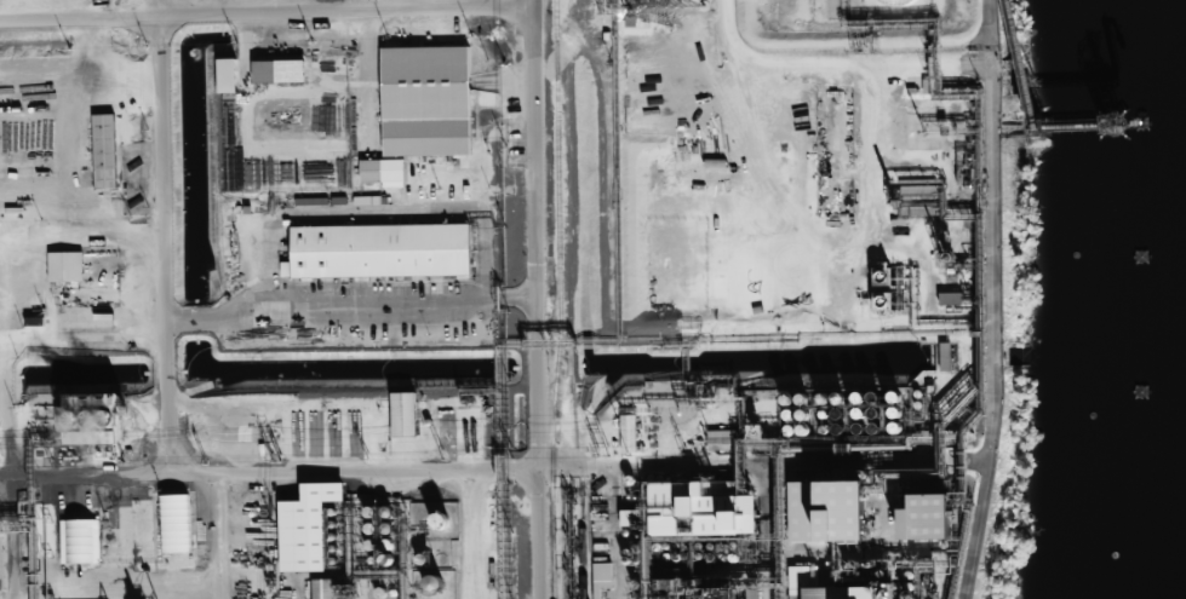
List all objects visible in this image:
road: (532, 30)
building: (279, 71)
building: (228, 75)
building: (426, 100)
building: (104, 151)
building: (36, 161)
building: (383, 172)
building: (379, 250)
building: (65, 266)
building: (881, 275)
building: (21, 283)
railway: (561, 299)
building: (81, 318)
road: (537, 329)
building: (403, 414)
building: (628, 433)
road: (314, 472)
building: (699, 511)
building: (826, 512)
building: (926, 518)
building: (176, 523)
building: (306, 526)
railway: (562, 536)
railway: (583, 537)
building: (80, 541)
building: (602, 578)
building: (323, 588)
building: (832, 588)

